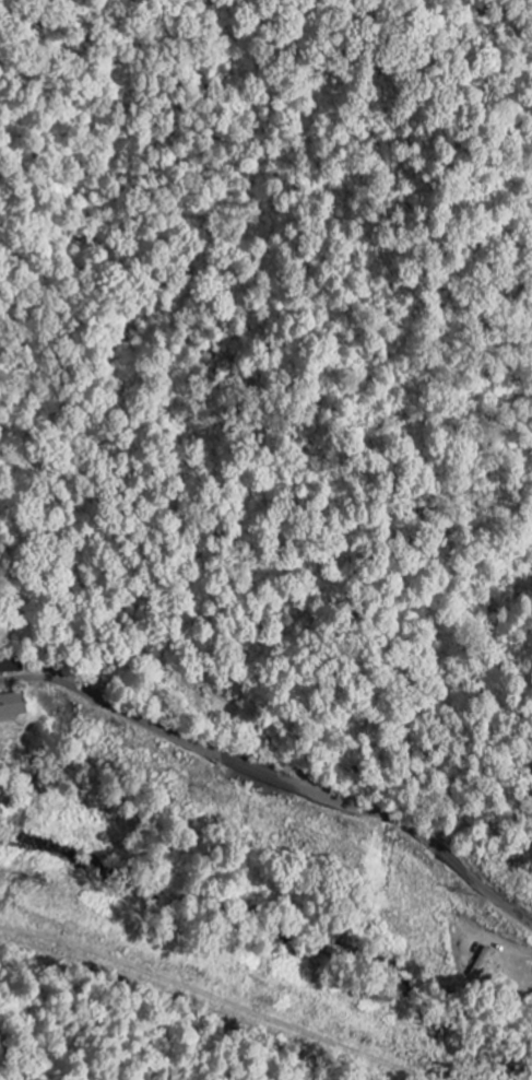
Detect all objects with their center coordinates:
building: (10, 708)
road: (276, 777)
building: (481, 964)

